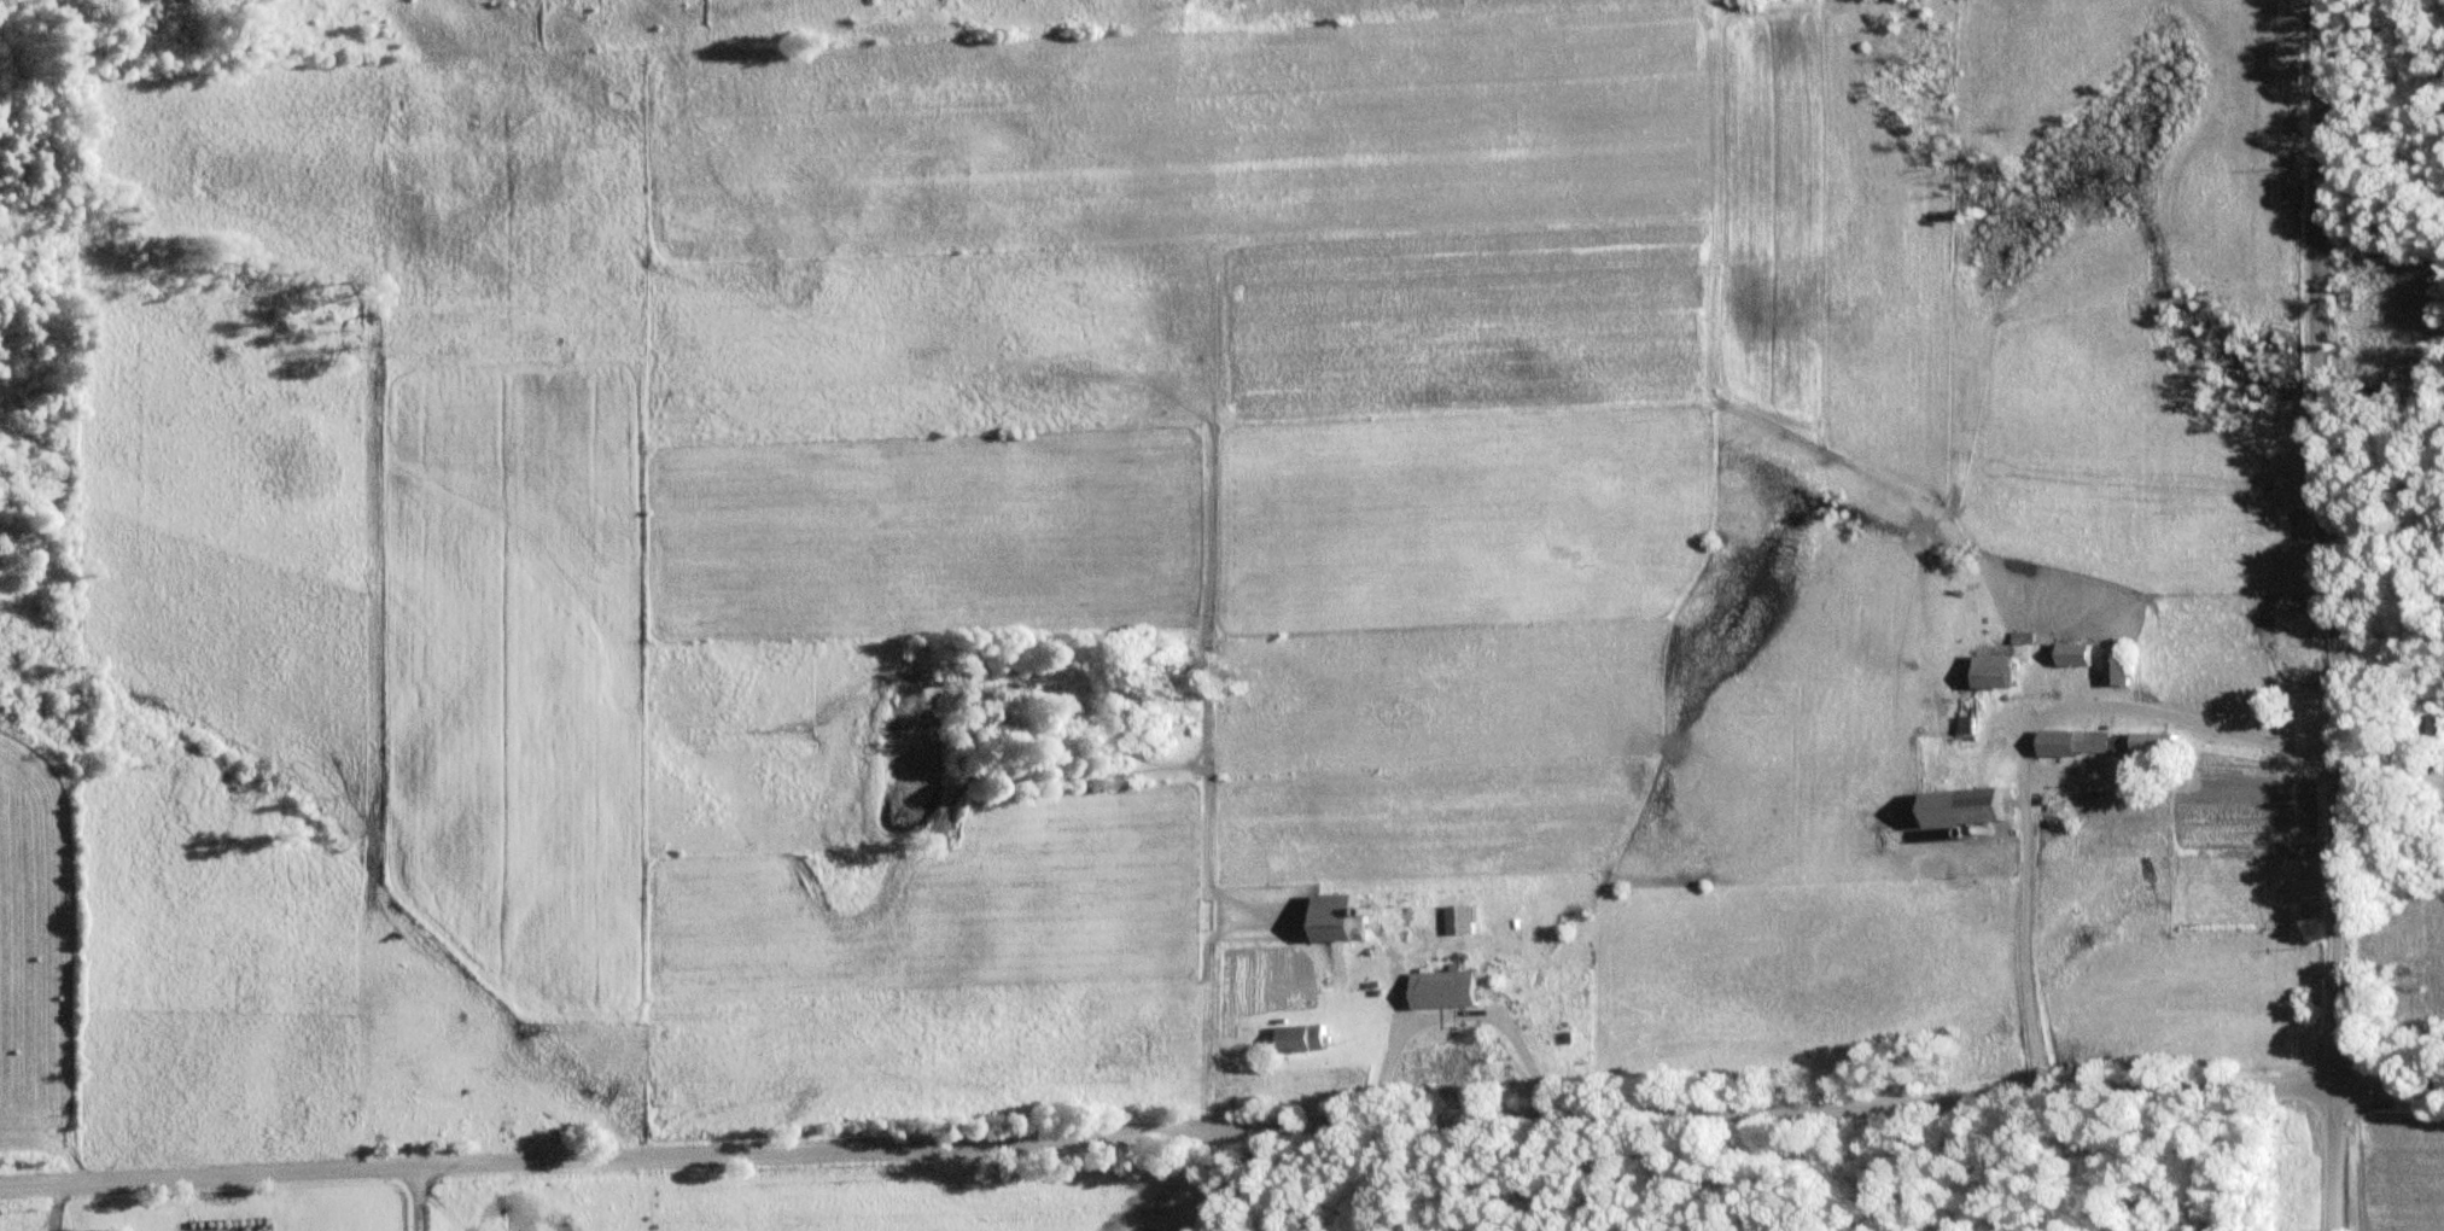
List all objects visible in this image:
road: (2326, 615)
building: (2121, 669)
building: (2003, 672)
building: (1972, 725)
building: (2081, 743)
building: (1996, 807)
building: (1349, 918)
building: (1452, 990)
building: (1306, 1038)
road: (1221, 1136)

